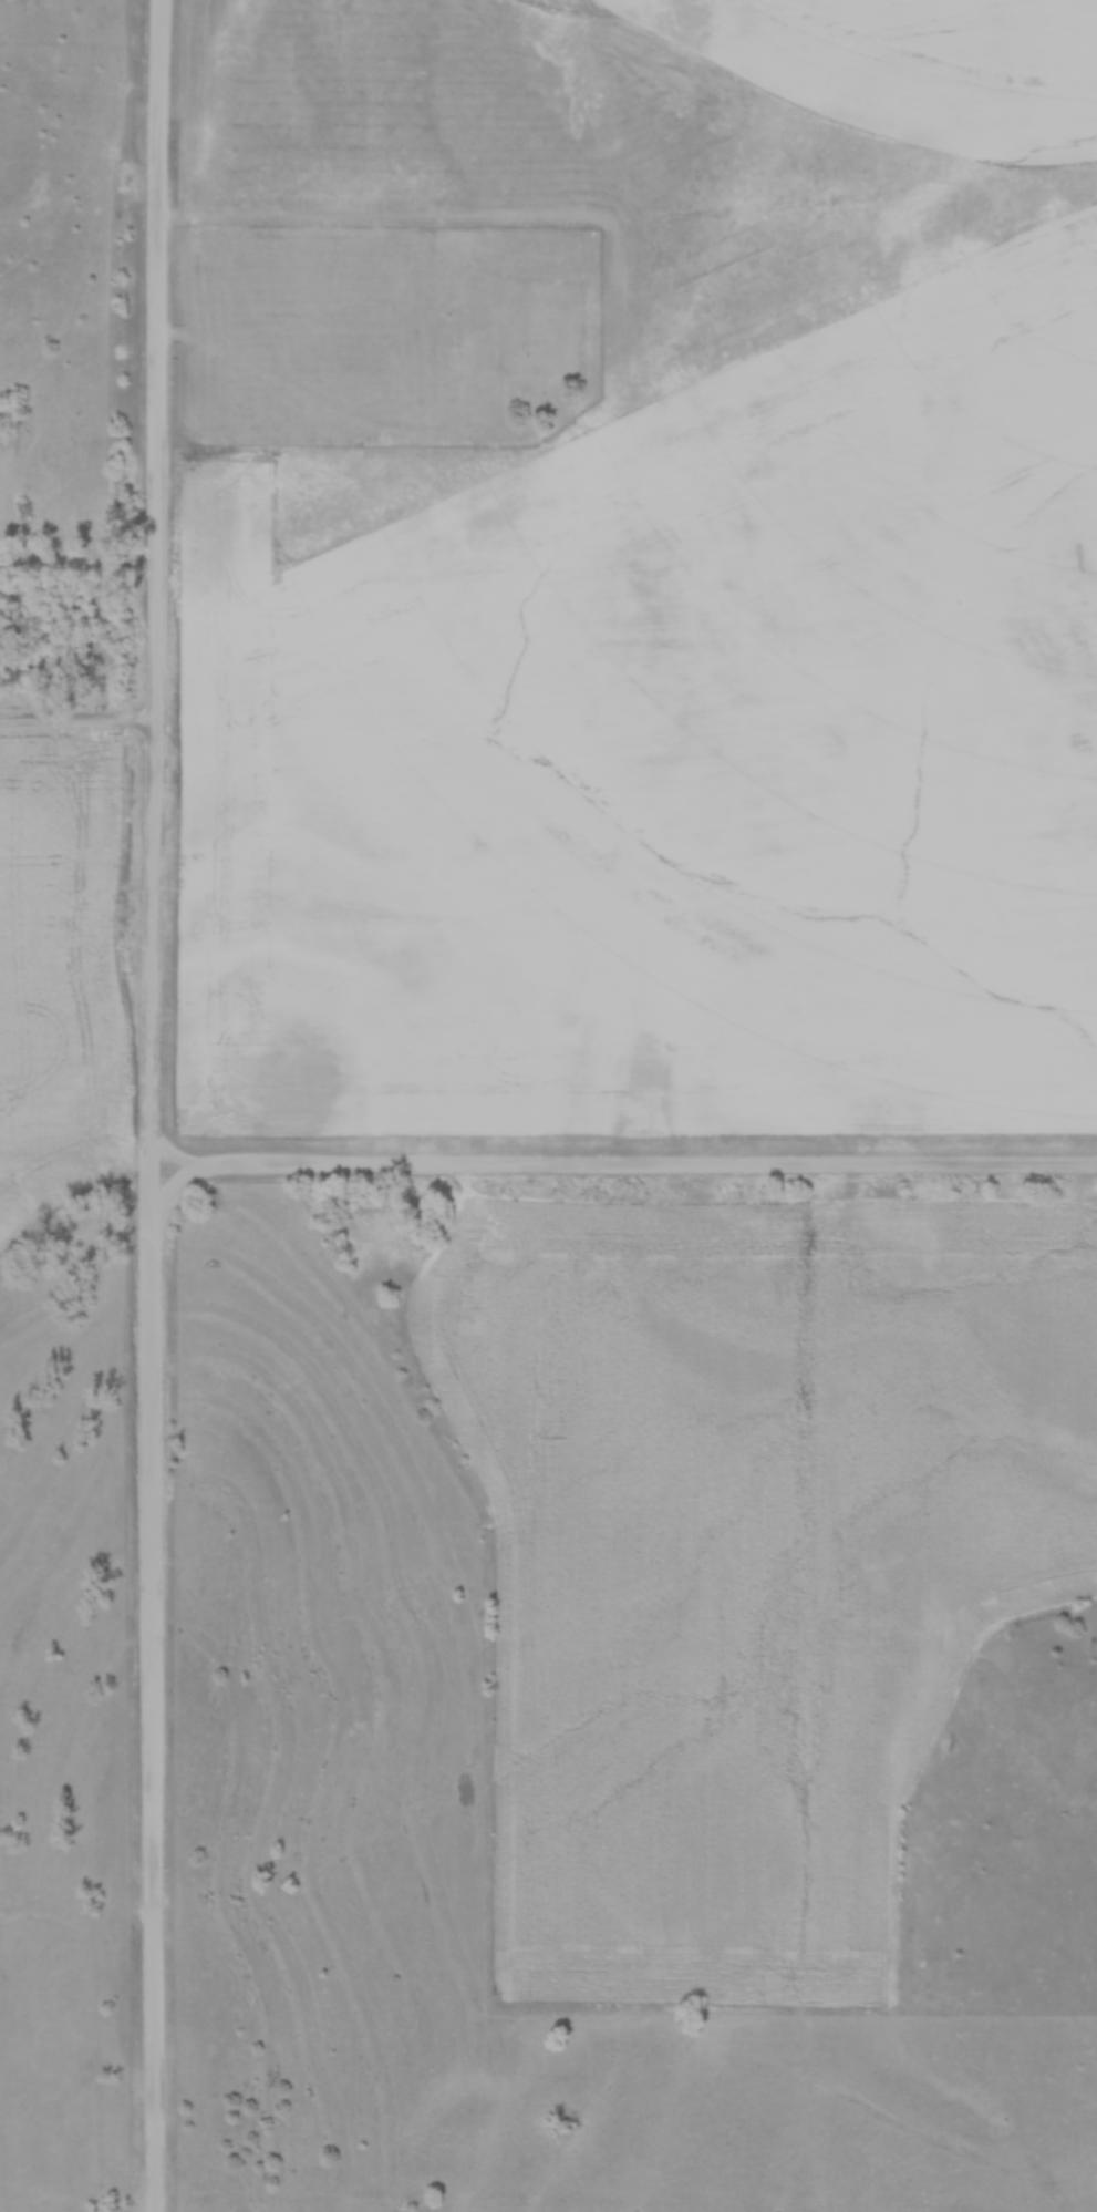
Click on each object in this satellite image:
park: (386, 332)
road: (76, 721)
road: (147, 1105)
road: (622, 1166)

